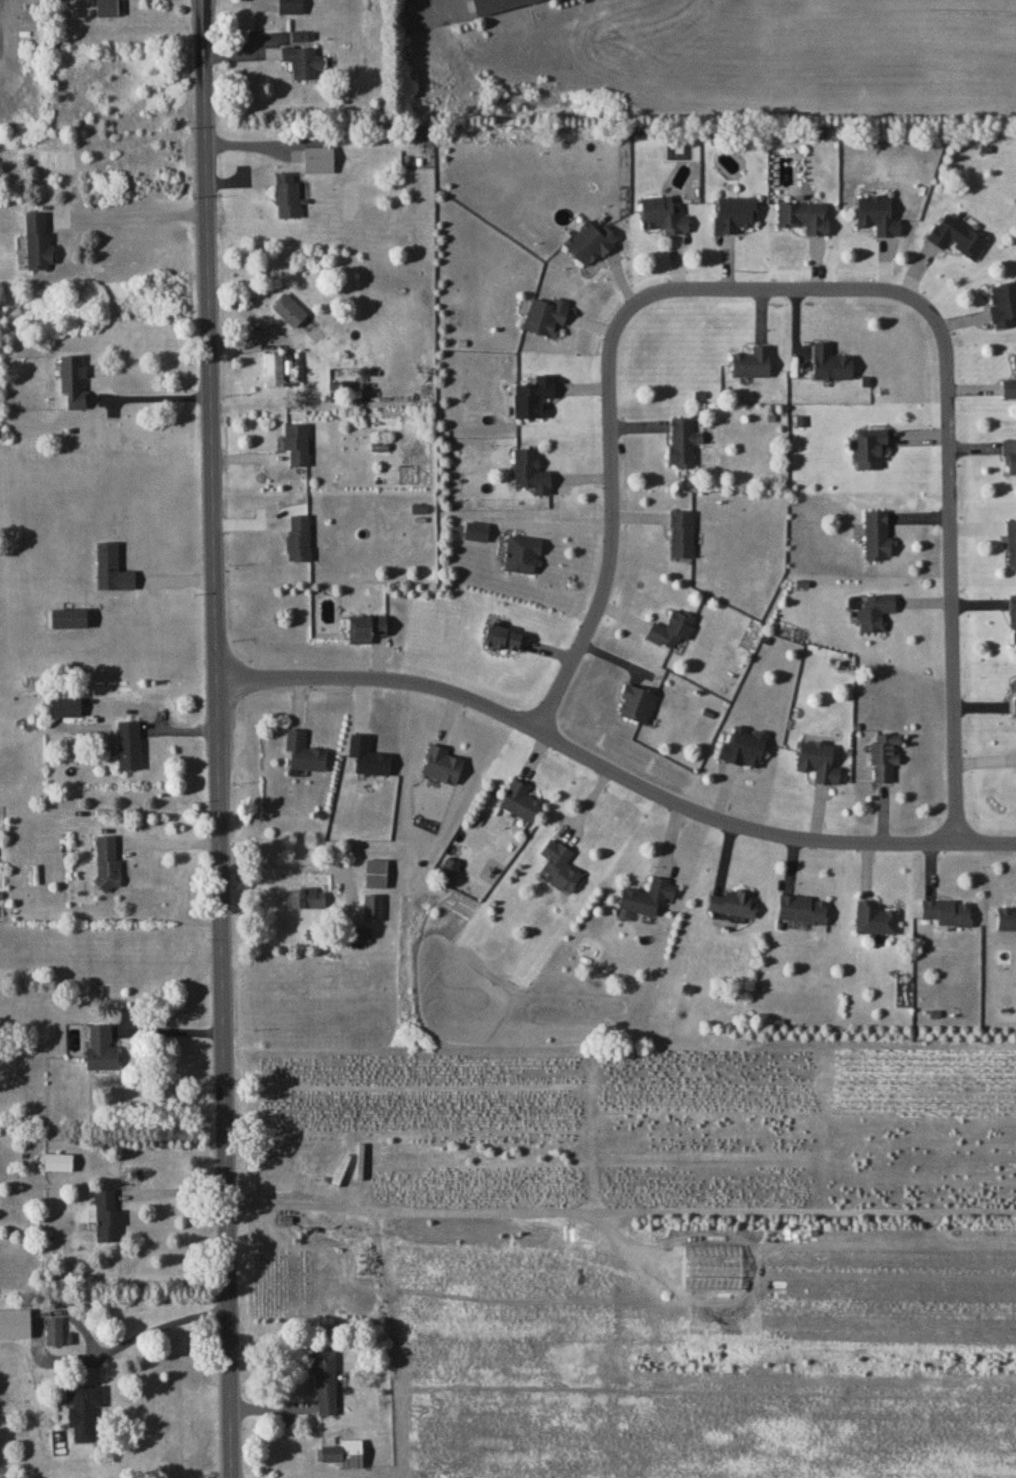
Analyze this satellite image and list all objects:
building: (494, 4)
building: (289, 6)
building: (109, 7)
building: (301, 60)
building: (317, 159)
building: (286, 195)
building: (733, 213)
building: (663, 214)
building: (876, 214)
building: (803, 216)
road: (137, 220)
building: (956, 235)
building: (37, 241)
building: (589, 241)
road: (825, 290)
building: (1002, 303)
building: (288, 309)
building: (545, 315)
building: (751, 362)
building: (830, 362)
building: (273, 368)
building: (72, 379)
building: (1009, 386)
building: (532, 396)
road: (152, 398)
building: (682, 441)
building: (295, 442)
building: (869, 447)
building: (1009, 455)
building: (530, 471)
building: (475, 530)
building: (681, 533)
building: (876, 533)
building: (298, 536)
building: (1011, 542)
building: (521, 553)
building: (111, 568)
building: (874, 611)
building: (1012, 615)
building: (365, 627)
building: (671, 628)
building: (501, 637)
building: (1015, 696)
building: (635, 702)
building: (65, 706)
road: (220, 738)
building: (128, 744)
building: (743, 746)
building: (303, 751)
building: (367, 755)
building: (883, 756)
building: (817, 761)
building: (442, 764)
road: (613, 775)
building: (519, 800)
building: (106, 861)
building: (448, 865)
building: (559, 865)
building: (645, 896)
building: (303, 897)
building: (731, 902)
building: (372, 906)
building: (801, 908)
building: (946, 911)
building: (873, 917)
building: (1006, 918)
building: (100, 1048)
building: (57, 1161)
road: (617, 1210)
building: (102, 1214)
building: (14, 1323)
road: (156, 1325)
building: (53, 1330)
building: (324, 1379)
building: (82, 1409)
building: (343, 1452)

